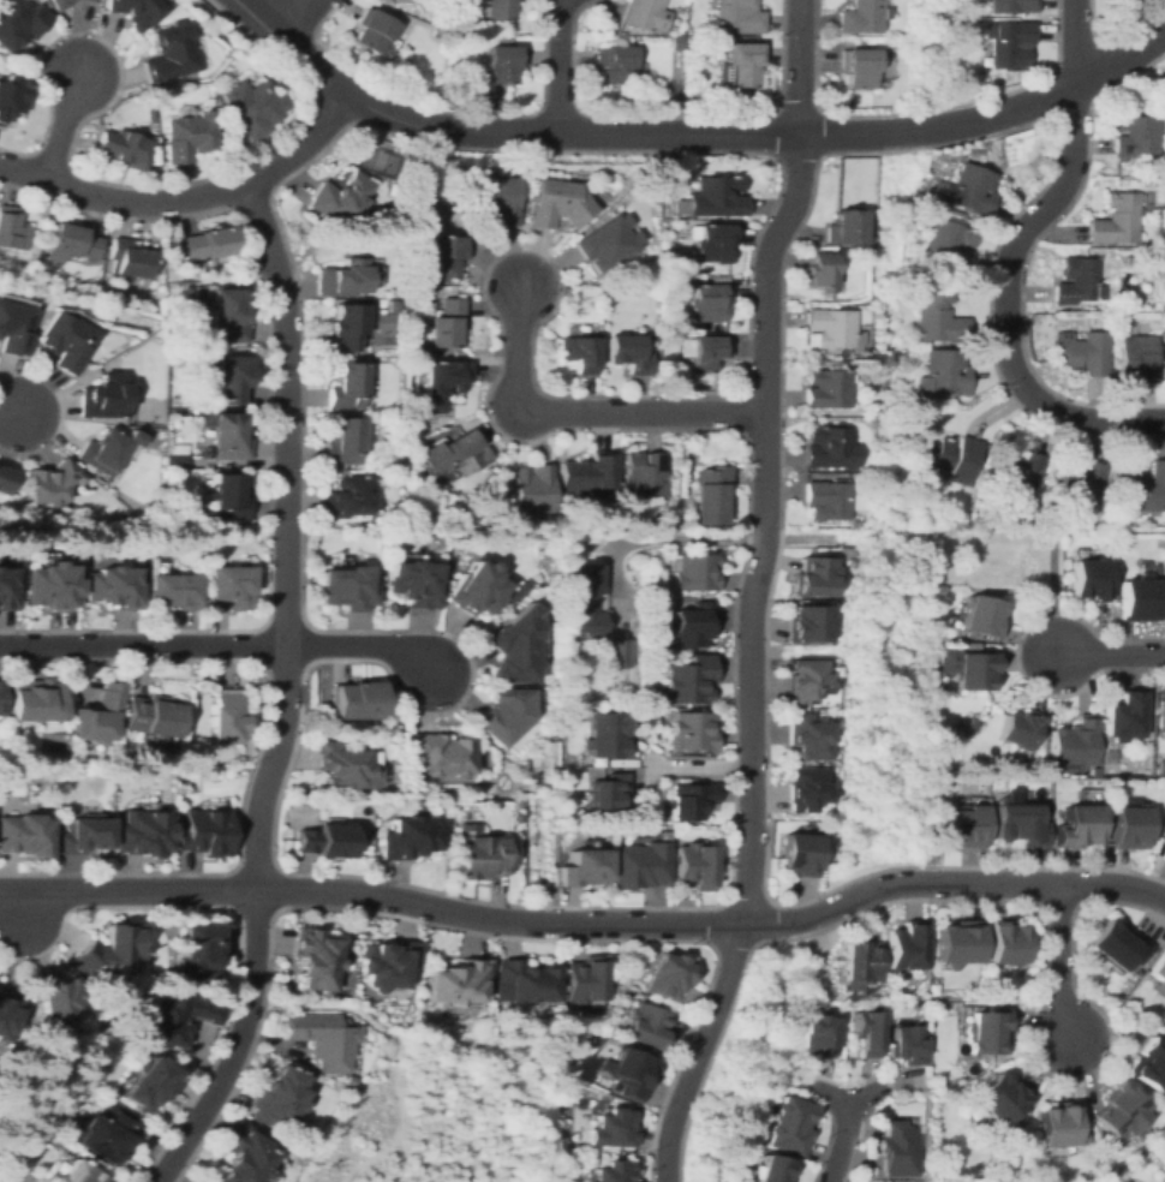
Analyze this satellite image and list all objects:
building: (89, 0)
building: (60, 4)
building: (1012, 6)
building: (498, 10)
building: (136, 11)
road: (276, 13)
building: (645, 14)
building: (737, 17)
building: (862, 17)
building: (19, 22)
building: (375, 31)
building: (676, 42)
building: (1009, 43)
building: (169, 53)
building: (503, 64)
building: (616, 64)
building: (740, 65)
road: (561, 66)
building: (859, 67)
building: (11, 96)
building: (251, 107)
road: (64, 125)
road: (688, 133)
building: (187, 135)
building: (1137, 137)
building: (121, 148)
building: (376, 159)
park: (381, 162)
building: (970, 190)
building: (341, 196)
building: (713, 197)
road: (186, 198)
building: (498, 199)
building: (557, 203)
building: (1118, 220)
building: (846, 228)
building: (12, 229)
building: (448, 229)
building: (74, 240)
building: (712, 240)
building: (208, 243)
building: (608, 243)
building: (948, 244)
building: (448, 255)
building: (130, 258)
building: (1130, 259)
road: (1010, 261)
building: (820, 271)
building: (1109, 271)
building: (347, 276)
building: (1077, 281)
building: (709, 302)
building: (195, 306)
building: (392, 306)
building: (228, 312)
building: (939, 318)
building: (447, 324)
building: (679, 324)
building: (1105, 324)
building: (347, 326)
building: (831, 327)
building: (14, 328)
park: (384, 329)
building: (66, 340)
road: (518, 347)
building: (1083, 352)
building: (579, 353)
building: (628, 353)
building: (707, 353)
building: (1139, 357)
building: (945, 372)
building: (232, 377)
building: (443, 382)
building: (347, 386)
building: (829, 388)
building: (933, 395)
building: (104, 398)
park: (148, 411)
road: (644, 413)
road: (12, 416)
building: (229, 436)
building: (343, 441)
building: (831, 447)
building: (107, 449)
building: (455, 454)
building: (952, 458)
building: (177, 460)
building: (586, 472)
building: (1017, 473)
building: (644, 474)
building: (5, 479)
building: (52, 482)
building: (1081, 483)
building: (532, 490)
building: (1146, 490)
building: (711, 491)
building: (229, 496)
building: (348, 496)
building: (828, 500)
building: (1038, 505)
building: (925, 517)
building: (124, 518)
road: (283, 537)
road: (686, 537)
building: (694, 571)
building: (817, 574)
building: (1089, 578)
building: (413, 583)
road: (610, 583)
building: (50, 585)
building: (229, 585)
building: (110, 586)
building: (346, 587)
building: (476, 587)
building: (6, 590)
building: (173, 590)
road: (751, 592)
building: (1141, 598)
building: (585, 615)
building: (984, 615)
building: (808, 622)
building: (693, 623)
road: (219, 646)
building: (514, 646)
building: (615, 652)
road: (1112, 655)
building: (974, 669)
building: (806, 679)
building: (689, 680)
building: (0, 697)
building: (35, 699)
building: (356, 699)
building: (503, 714)
building: (1163, 714)
building: (96, 715)
building: (151, 715)
building: (1124, 715)
building: (223, 720)
building: (1021, 728)
building: (691, 730)
building: (609, 734)
building: (811, 736)
building: (1075, 745)
building: (945, 746)
building: (440, 753)
building: (345, 764)
road: (699, 764)
building: (1094, 770)
building: (807, 788)
building: (609, 792)
building: (691, 799)
building: (515, 817)
building: (179, 819)
building: (1018, 823)
building: (963, 825)
building: (1077, 825)
building: (1130, 826)
building: (204, 831)
building: (143, 834)
building: (23, 835)
building: (80, 835)
building: (410, 837)
building: (325, 840)
building: (480, 853)
building: (800, 853)
building: (1163, 856)
building: (640, 864)
building: (694, 865)
building: (585, 867)
road: (20, 909)
road: (585, 925)
road: (467, 931)
building: (958, 943)
building: (1006, 943)
building: (1118, 944)
building: (907, 945)
building: (113, 947)
building: (198, 953)
building: (315, 959)
building: (861, 960)
building: (387, 962)
road: (1059, 965)
building: (1159, 974)
building: (668, 975)
building: (585, 979)
building: (524, 980)
building: (456, 981)
park: (341, 983)
building: (58, 998)
road: (259, 998)
building: (936, 1007)
building: (8, 1016)
building: (172, 1017)
building: (646, 1026)
road: (381, 1028)
building: (987, 1031)
building: (866, 1032)
building: (815, 1035)
building: (322, 1038)
road: (235, 1044)
building: (907, 1044)
building: (603, 1064)
building: (1149, 1064)
building: (633, 1071)
building: (348, 1080)
building: (148, 1082)
building: (276, 1097)
road: (834, 1098)
building: (1000, 1098)
building: (1119, 1111)
building: (789, 1124)
road: (847, 1124)
building: (1059, 1124)
building: (613, 1128)
building: (107, 1133)
building: (897, 1148)
park: (1160, 1148)
road: (404, 1152)
building: (244, 1157)
building: (994, 1162)
building: (772, 1169)
building: (611, 1171)
park: (17, 1174)
building: (77, 1174)
building: (1163, 1178)
building: (199, 1181)

